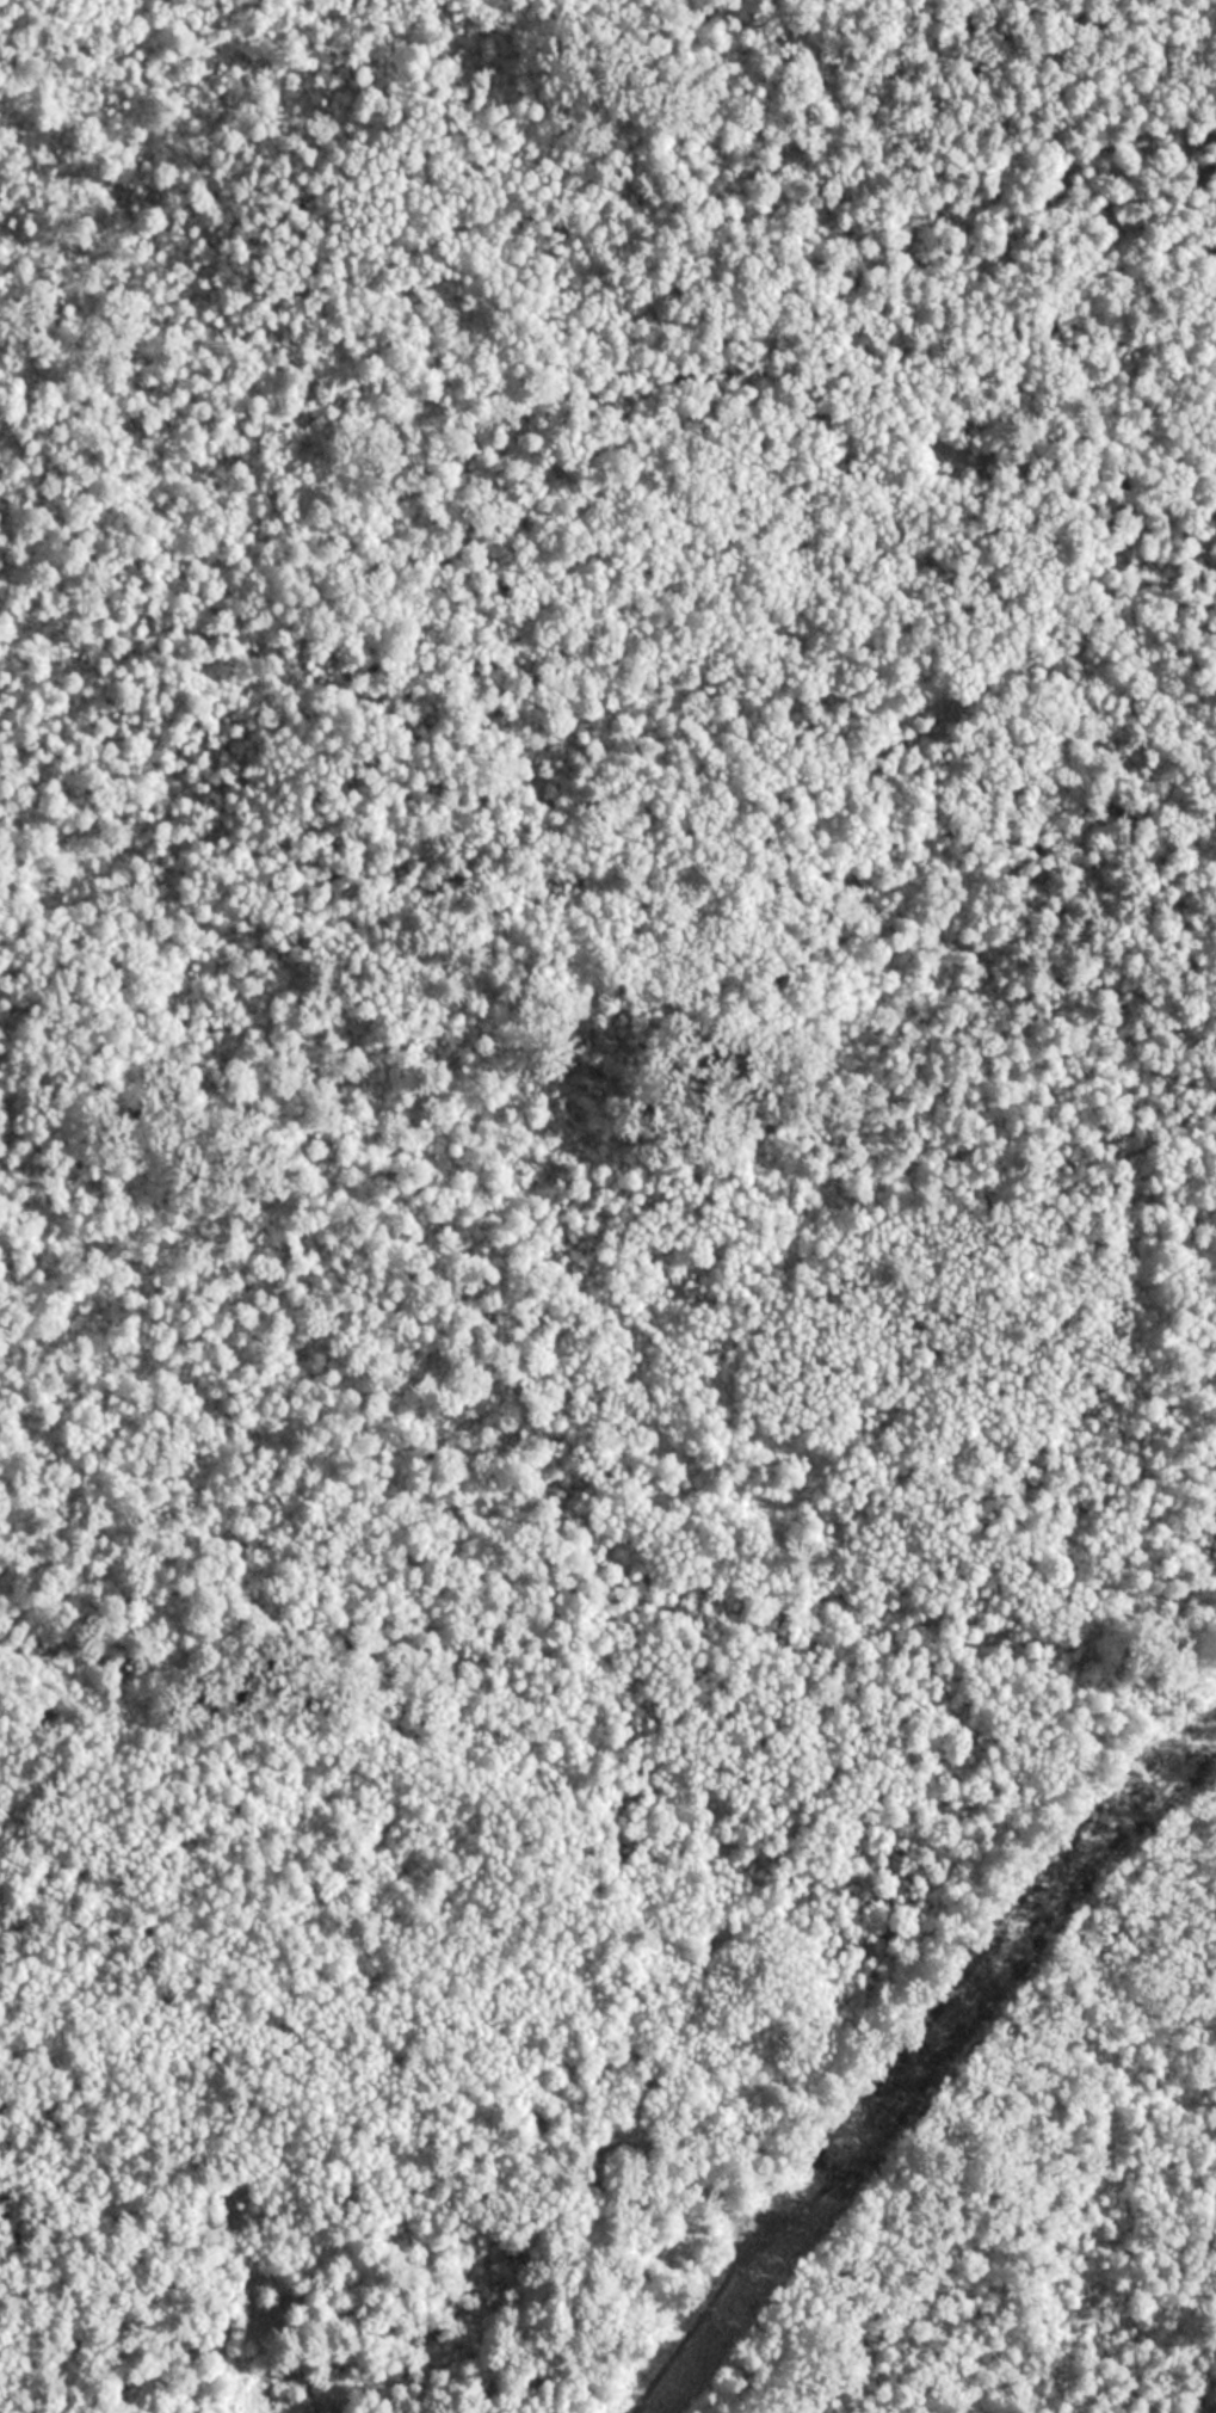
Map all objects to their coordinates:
park: (607, 1206)

